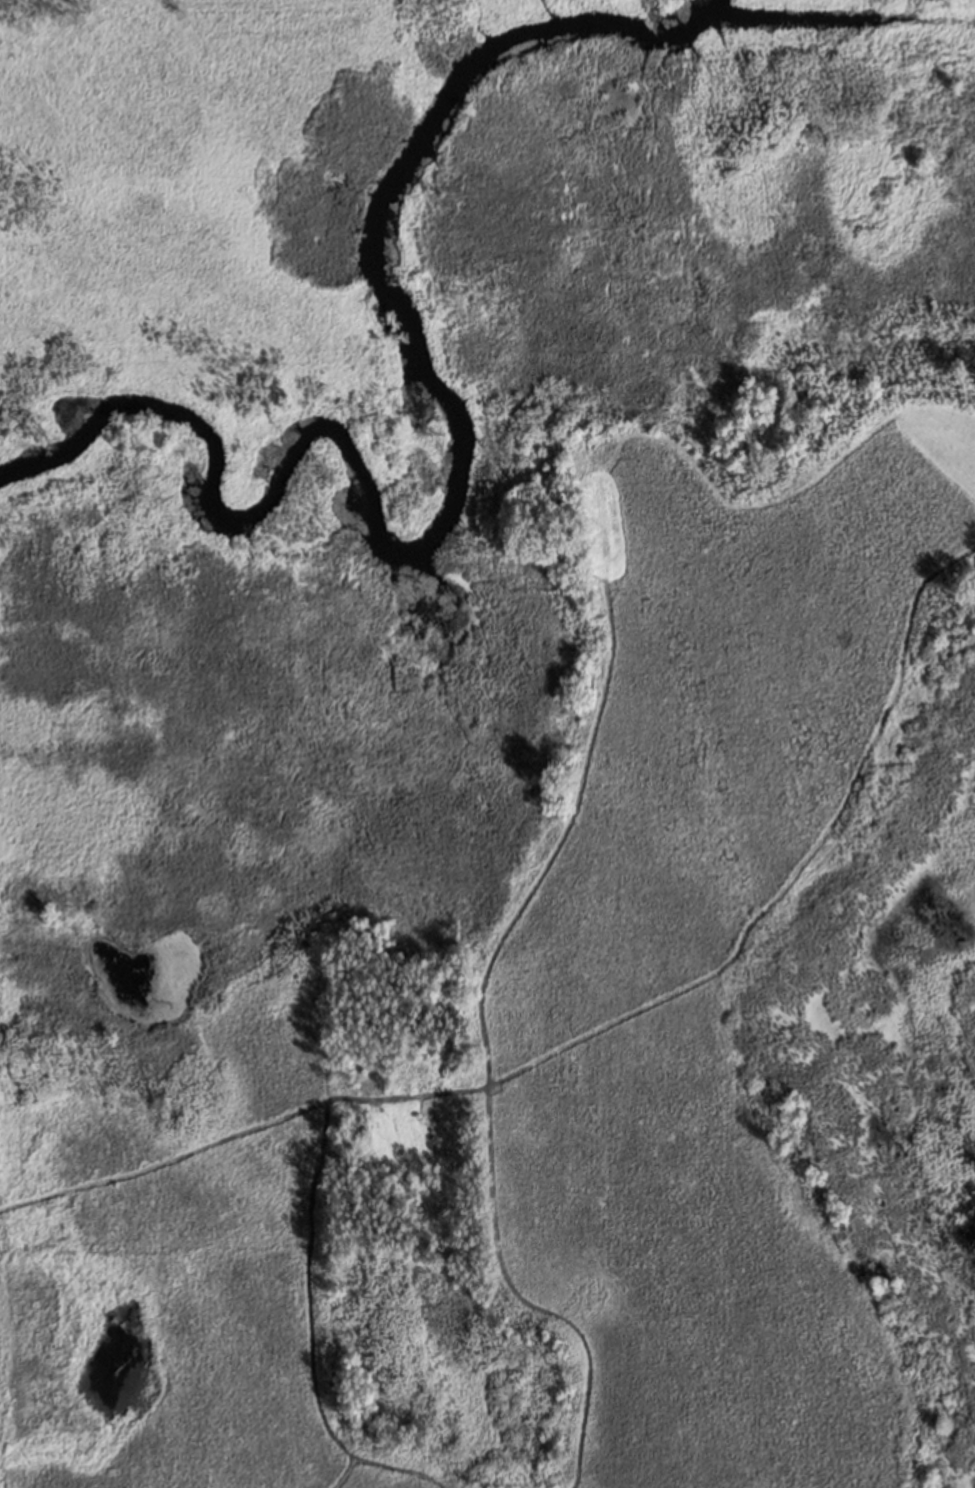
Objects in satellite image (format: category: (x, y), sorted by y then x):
river: (442, 451)

